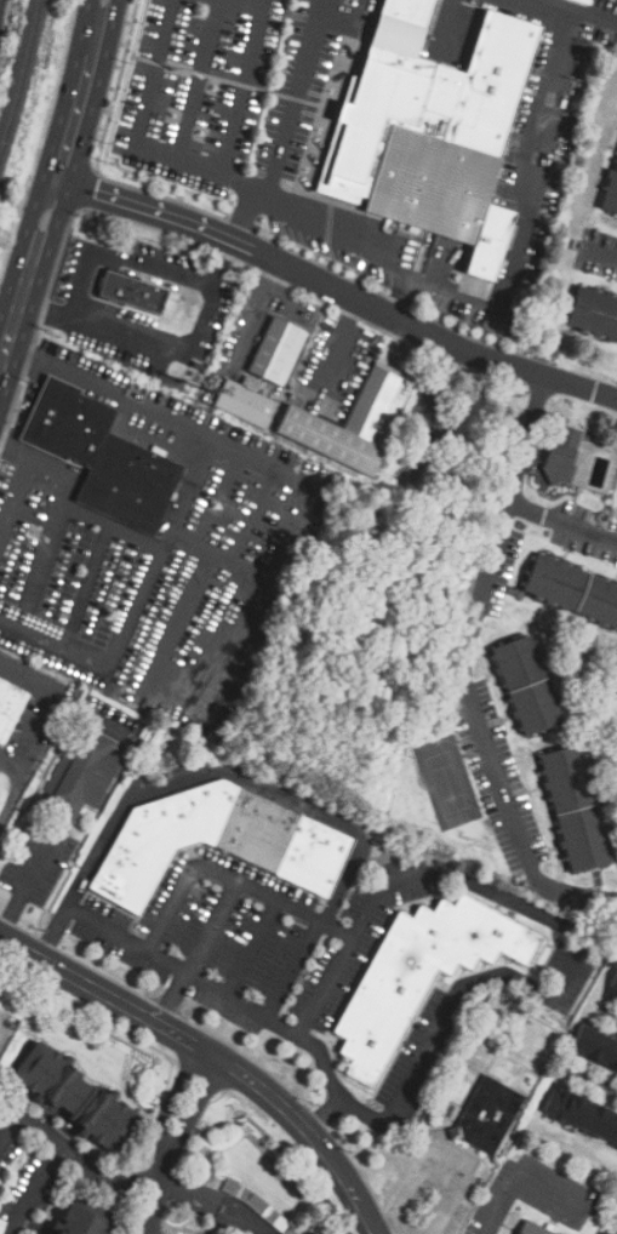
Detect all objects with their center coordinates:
building: (585, 1)
road: (281, 8)
road: (547, 8)
railway: (21, 72)
road: (158, 75)
road: (200, 82)
road: (233, 82)
road: (241, 87)
road: (287, 125)
building: (411, 137)
road: (204, 171)
road: (613, 176)
road: (57, 181)
road: (536, 188)
road: (93, 190)
building: (611, 194)
road: (221, 216)
road: (361, 245)
road: (598, 253)
parking lot: (596, 257)
road: (594, 280)
road: (292, 286)
road: (336, 291)
building: (133, 295)
road: (207, 312)
road: (609, 312)
building: (596, 313)
road: (40, 330)
road: (32, 348)
building: (555, 352)
road: (550, 366)
building: (261, 377)
road: (578, 407)
road: (187, 424)
building: (354, 424)
road: (566, 425)
road: (556, 434)
building: (569, 434)
road: (556, 441)
road: (15, 449)
building: (455, 450)
building: (102, 457)
building: (560, 463)
road: (223, 498)
road: (15, 499)
road: (575, 505)
road: (86, 509)
road: (562, 524)
road: (193, 537)
parking lot: (585, 537)
parking lot: (509, 559)
road: (233, 565)
road: (566, 565)
road: (86, 584)
building: (573, 589)
road: (610, 606)
road: (8, 619)
road: (463, 669)
road: (484, 682)
building: (527, 685)
building: (10, 710)
road: (498, 725)
road: (42, 729)
road: (12, 762)
building: (84, 776)
park: (444, 783)
parking lot: (498, 783)
road: (549, 788)
building: (576, 810)
road: (329, 818)
road: (479, 821)
building: (217, 844)
road: (566, 849)
road: (228, 876)
road: (25, 889)
road: (576, 932)
road: (252, 948)
road: (195, 953)
road: (162, 961)
building: (419, 977)
building: (612, 989)
building: (0, 1012)
building: (1, 1016)
road: (606, 1019)
road: (1, 1029)
building: (484, 1033)
building: (596, 1049)
road: (212, 1056)
road: (589, 1082)
building: (75, 1098)
building: (489, 1115)
building: (581, 1115)
building: (435, 1120)
road: (168, 1139)
road: (55, 1156)
road: (428, 1171)
building: (2, 1176)
road: (105, 1176)
road: (521, 1178)
building: (235, 1192)
road: (190, 1194)
building: (267, 1213)
road: (245, 1217)
building: (85, 1219)
building: (2, 1227)
building: (532, 1228)
building: (291, 1232)

